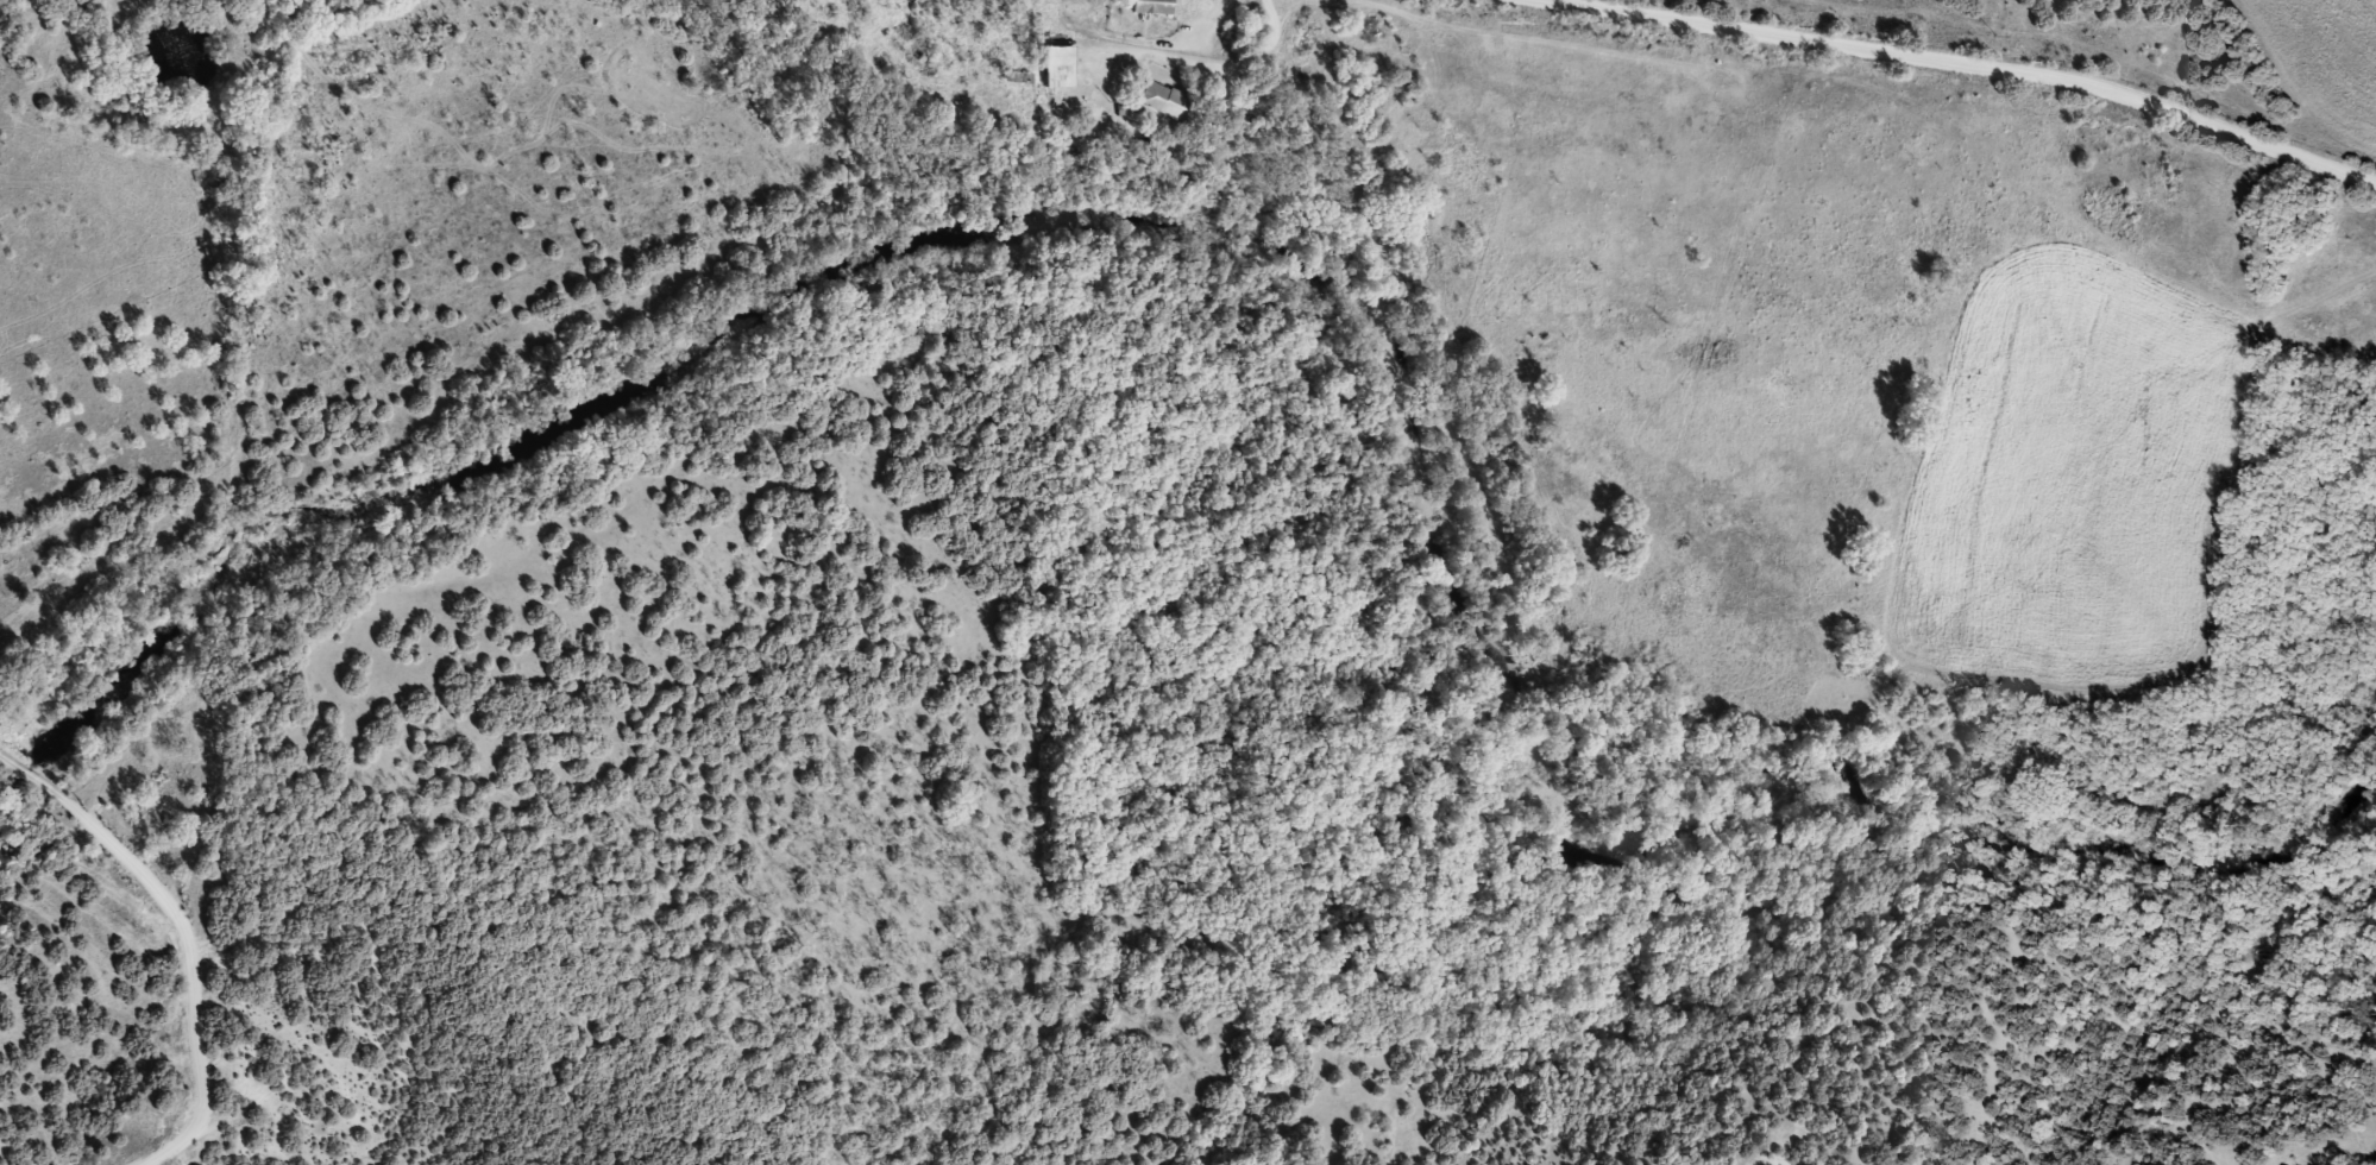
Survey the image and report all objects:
building: (1151, 8)
road: (1944, 67)
building: (1161, 102)

